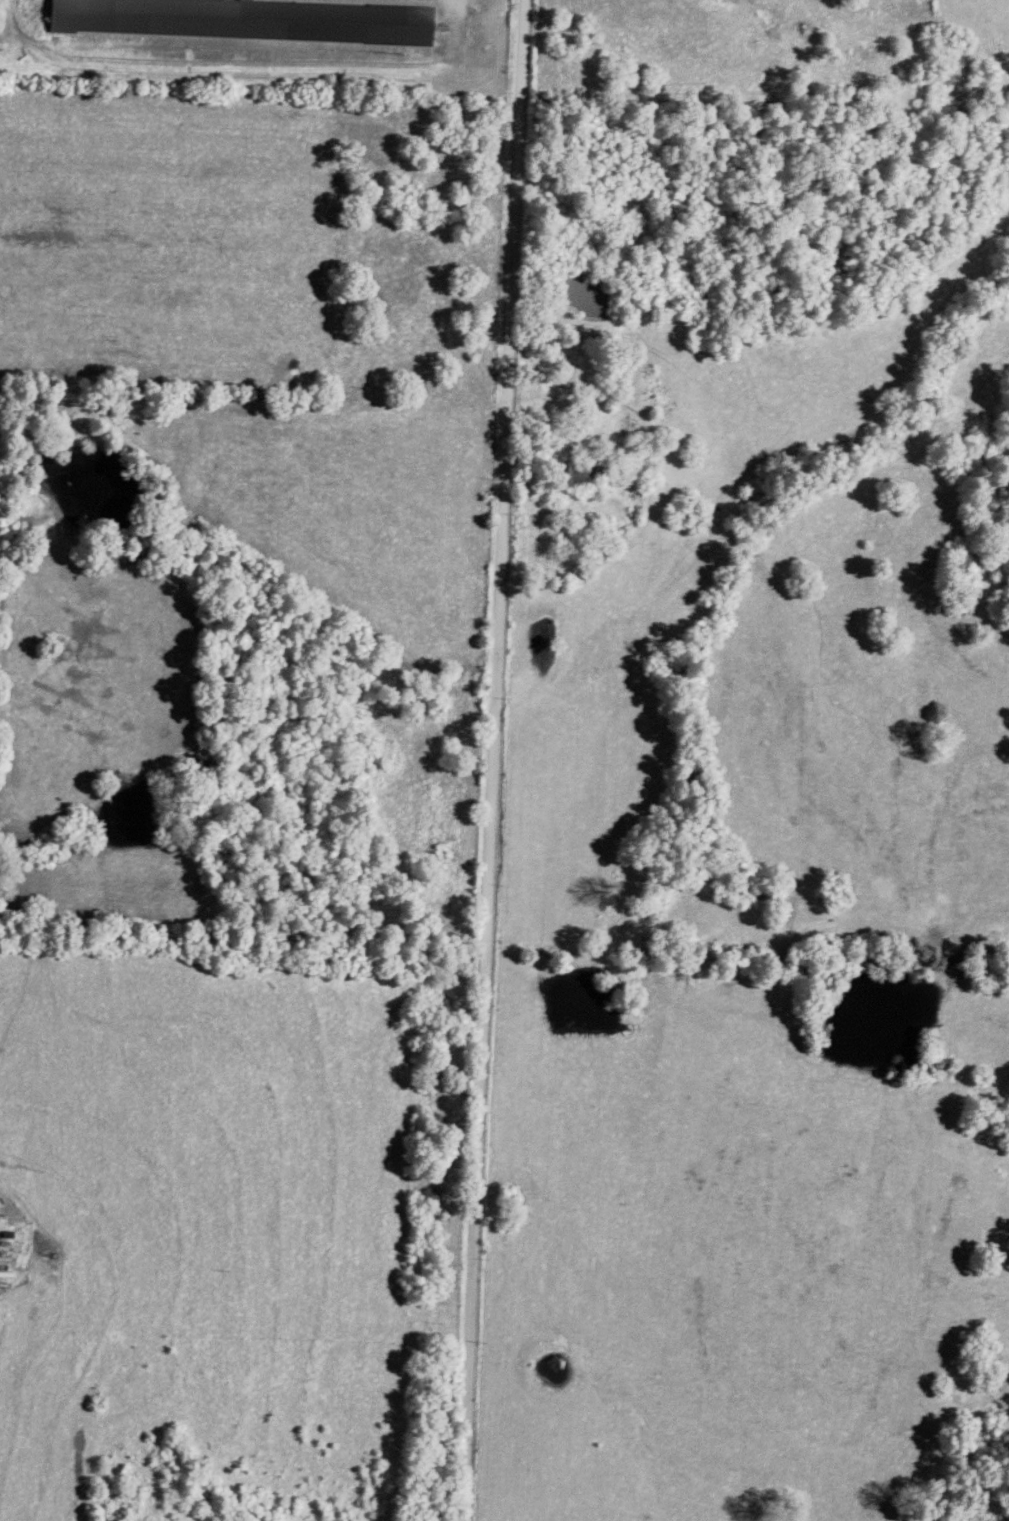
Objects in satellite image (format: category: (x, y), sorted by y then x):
building: (570, 478)
road: (494, 760)

